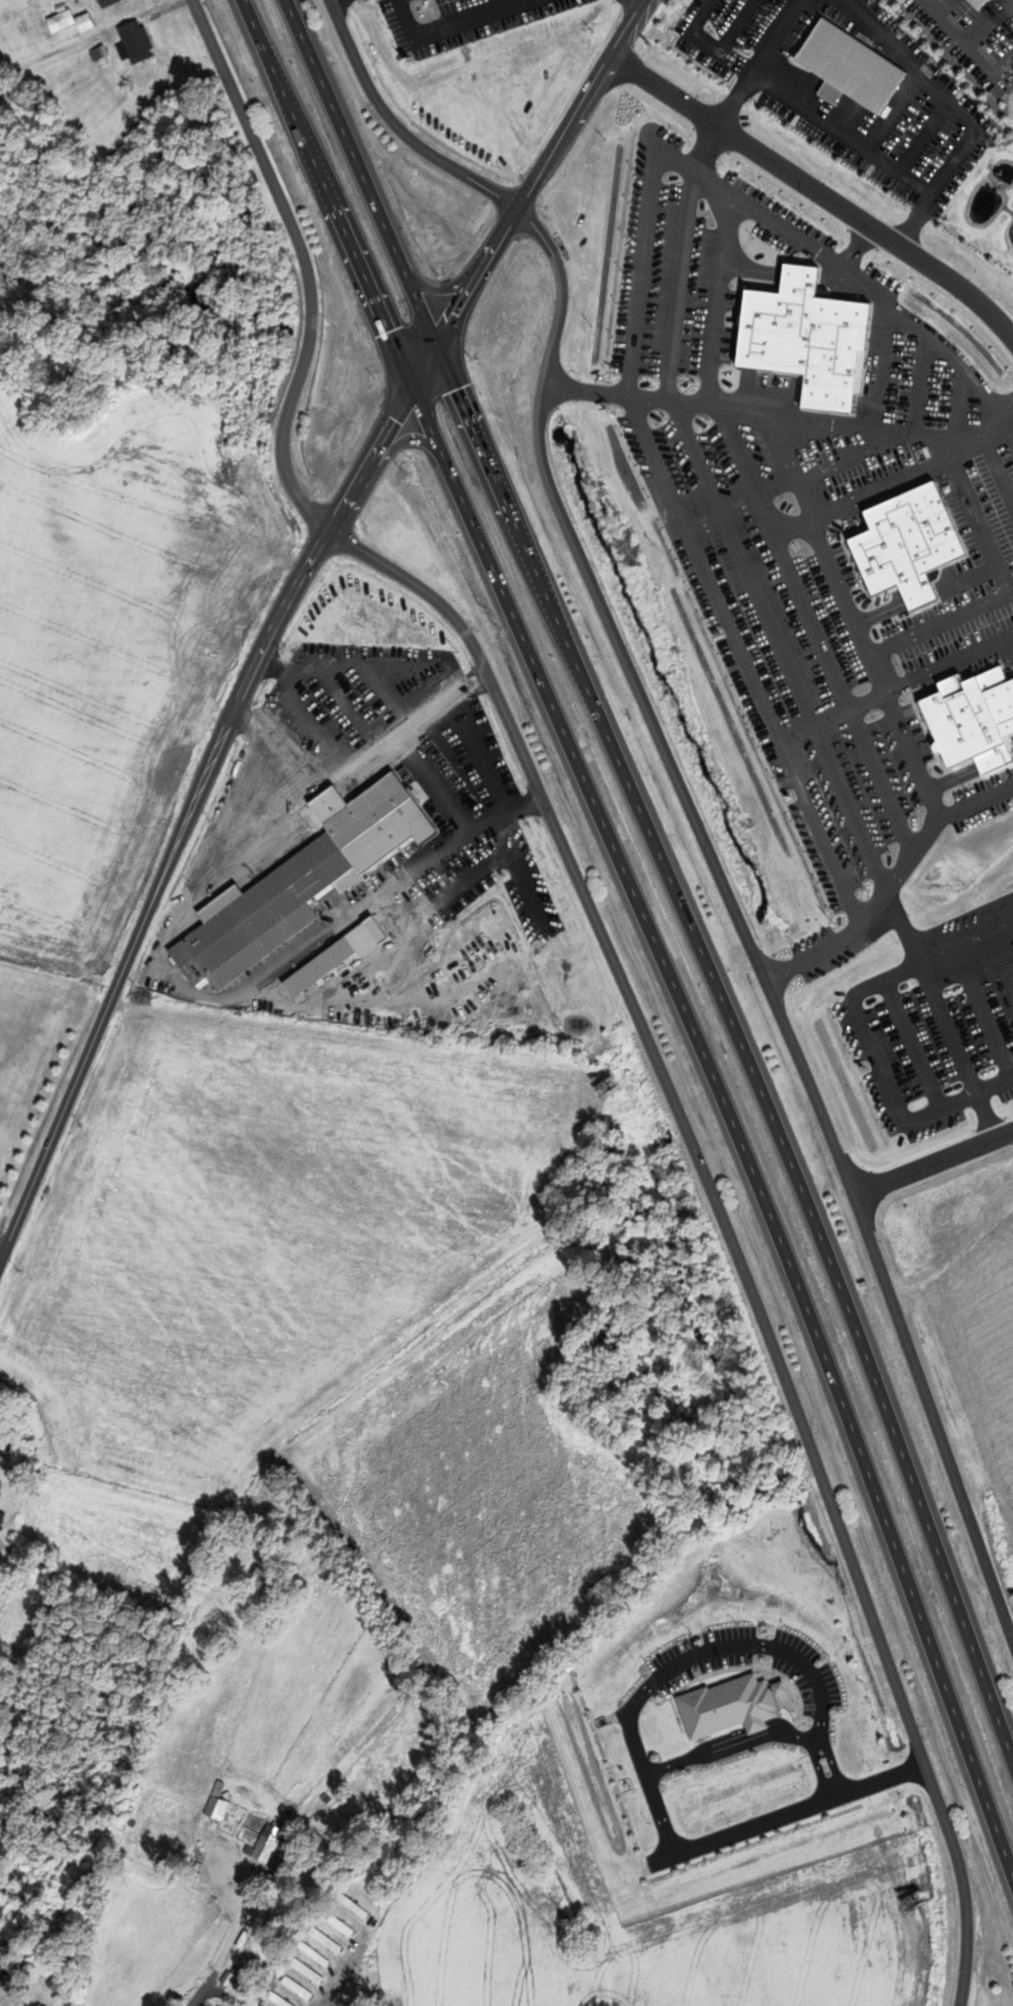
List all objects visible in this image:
building: (109, 2)
road: (647, 2)
building: (63, 20)
road: (778, 35)
building: (138, 40)
road: (735, 98)
road: (888, 122)
road: (402, 129)
road: (364, 169)
road: (331, 191)
road: (819, 191)
road: (536, 192)
road: (378, 761)
road: (193, 817)
road: (698, 823)
building: (301, 883)
road: (617, 963)
road: (235, 999)
road: (741, 1040)
road: (728, 1122)
road: (4, 1244)
building: (1, 1396)
road: (977, 1535)
building: (261, 1577)
road: (730, 1747)
road: (834, 1762)
road: (820, 1768)
road: (646, 1773)
building: (219, 1803)
building: (267, 1844)
building: (356, 1905)
building: (343, 1924)
building: (330, 1940)
road: (231, 1945)
building: (318, 1953)
building: (309, 1970)
road: (345, 1970)
building: (4, 1972)
building: (243, 1975)
building: (299, 1987)
building: (287, 2001)
building: (43, 2004)
building: (207, 2005)

